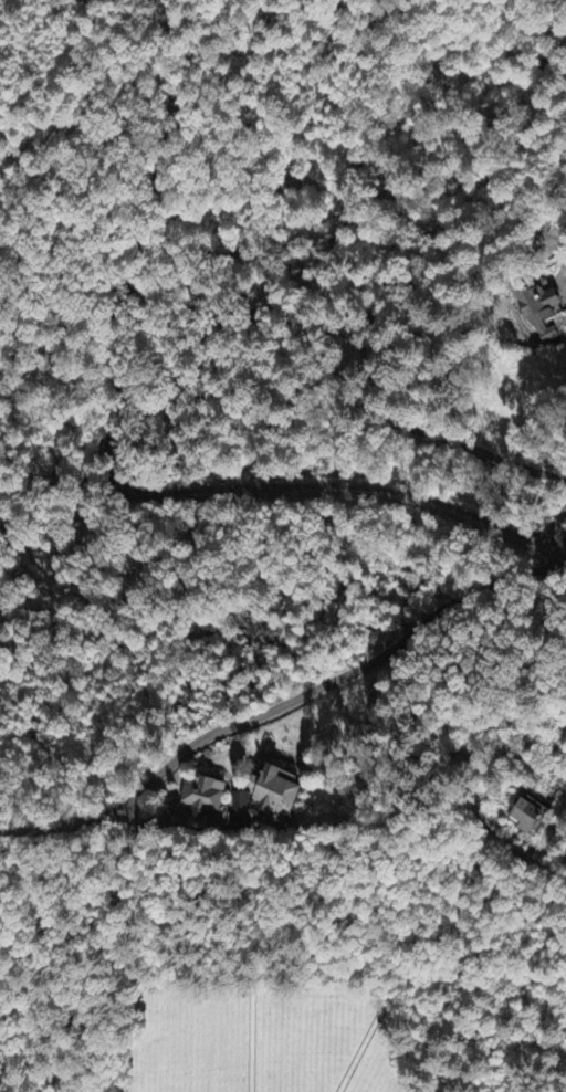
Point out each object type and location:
road: (169, 128)
building: (285, 186)
building: (541, 315)
road: (322, 328)
road: (428, 432)
road: (223, 495)
road: (554, 527)
road: (284, 705)
building: (279, 792)
building: (203, 797)
building: (241, 802)
building: (526, 817)

